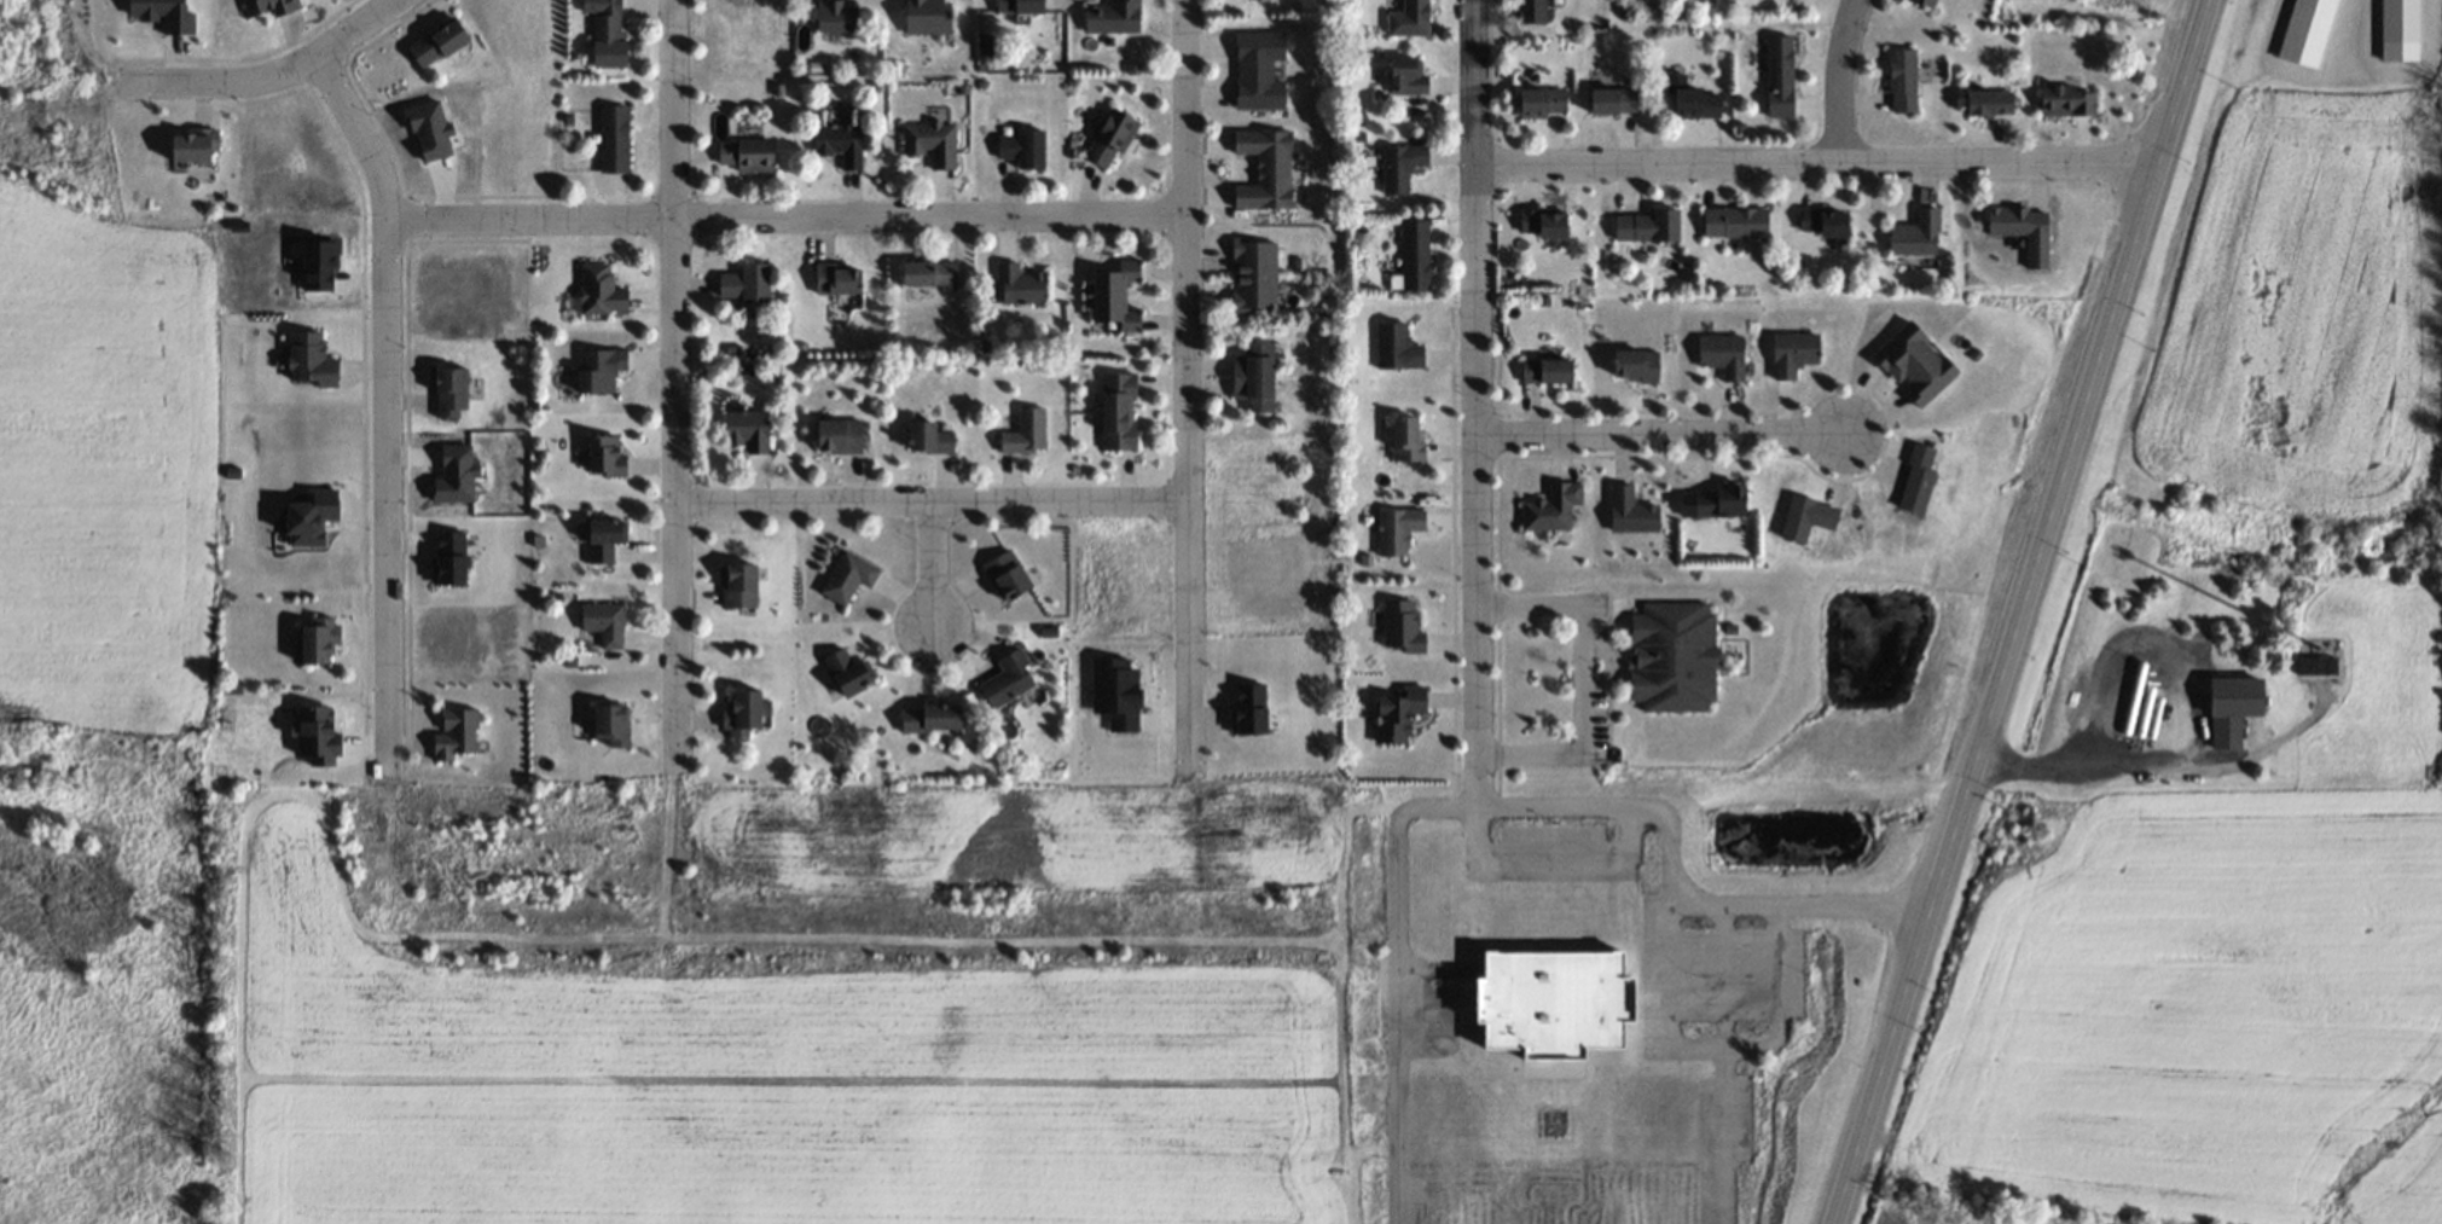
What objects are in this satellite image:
building: (1925, 2)
building: (1022, 5)
building: (273, 7)
building: (1532, 11)
park: (1721, 11)
building: (927, 14)
building: (835, 16)
building: (1110, 16)
building: (1409, 18)
building: (2400, 21)
building: (608, 33)
building: (439, 42)
road: (269, 69)
building: (1259, 70)
building: (1780, 76)
building: (1408, 77)
road: (1834, 80)
building: (1903, 81)
building: (2067, 100)
building: (1617, 101)
building: (1990, 103)
building: (1544, 104)
building: (1698, 104)
building: (1419, 110)
building: (614, 138)
building: (1113, 138)
building: (841, 143)
building: (932, 143)
building: (196, 147)
building: (1025, 147)
road: (1475, 151)
building: (748, 155)
road: (1816, 163)
building: (1402, 167)
building: (1266, 169)
road: (784, 215)
building: (1735, 221)
building: (1544, 224)
building: (1829, 225)
building: (1648, 226)
building: (2022, 228)
building: (1919, 233)
building: (1415, 255)
building: (1131, 269)
building: (932, 273)
building: (1254, 275)
building: (837, 278)
building: (747, 282)
building: (1020, 284)
building: (601, 290)
building: (1109, 295)
building: (1132, 320)
building: (1396, 346)
building: (1794, 352)
building: (1723, 355)
building: (312, 360)
building: (1918, 364)
building: (1638, 366)
building: (604, 367)
building: (1549, 371)
building: (1258, 377)
road: (1183, 382)
road: (671, 384)
building: (447, 393)
road: (384, 402)
building: (1118, 412)
building: (747, 428)
building: (1023, 431)
road: (1657, 434)
building: (841, 435)
building: (929, 436)
building: (1405, 440)
building: (607, 457)
crop: (103, 468)
building: (1721, 498)
road: (927, 500)
building: (1553, 509)
building: (1631, 512)
building: (609, 532)
building: (1398, 533)
road: (1474, 553)
road: (928, 567)
building: (848, 575)
building: (1008, 576)
building: (741, 586)
road: (2028, 611)
building: (605, 623)
building: (1403, 627)
building: (320, 642)
building: (1675, 657)
building: (2314, 666)
building: (848, 669)
road: (1580, 679)
building: (1009, 681)
building: (2226, 691)
building: (742, 712)
building: (1402, 715)
building: (933, 718)
building: (613, 725)
building: (457, 735)
road: (2118, 758)
road: (1466, 806)
road: (1820, 904)
road: (1689, 909)
road: (1775, 1000)
building: (1559, 1004)
road: (1717, 1065)

